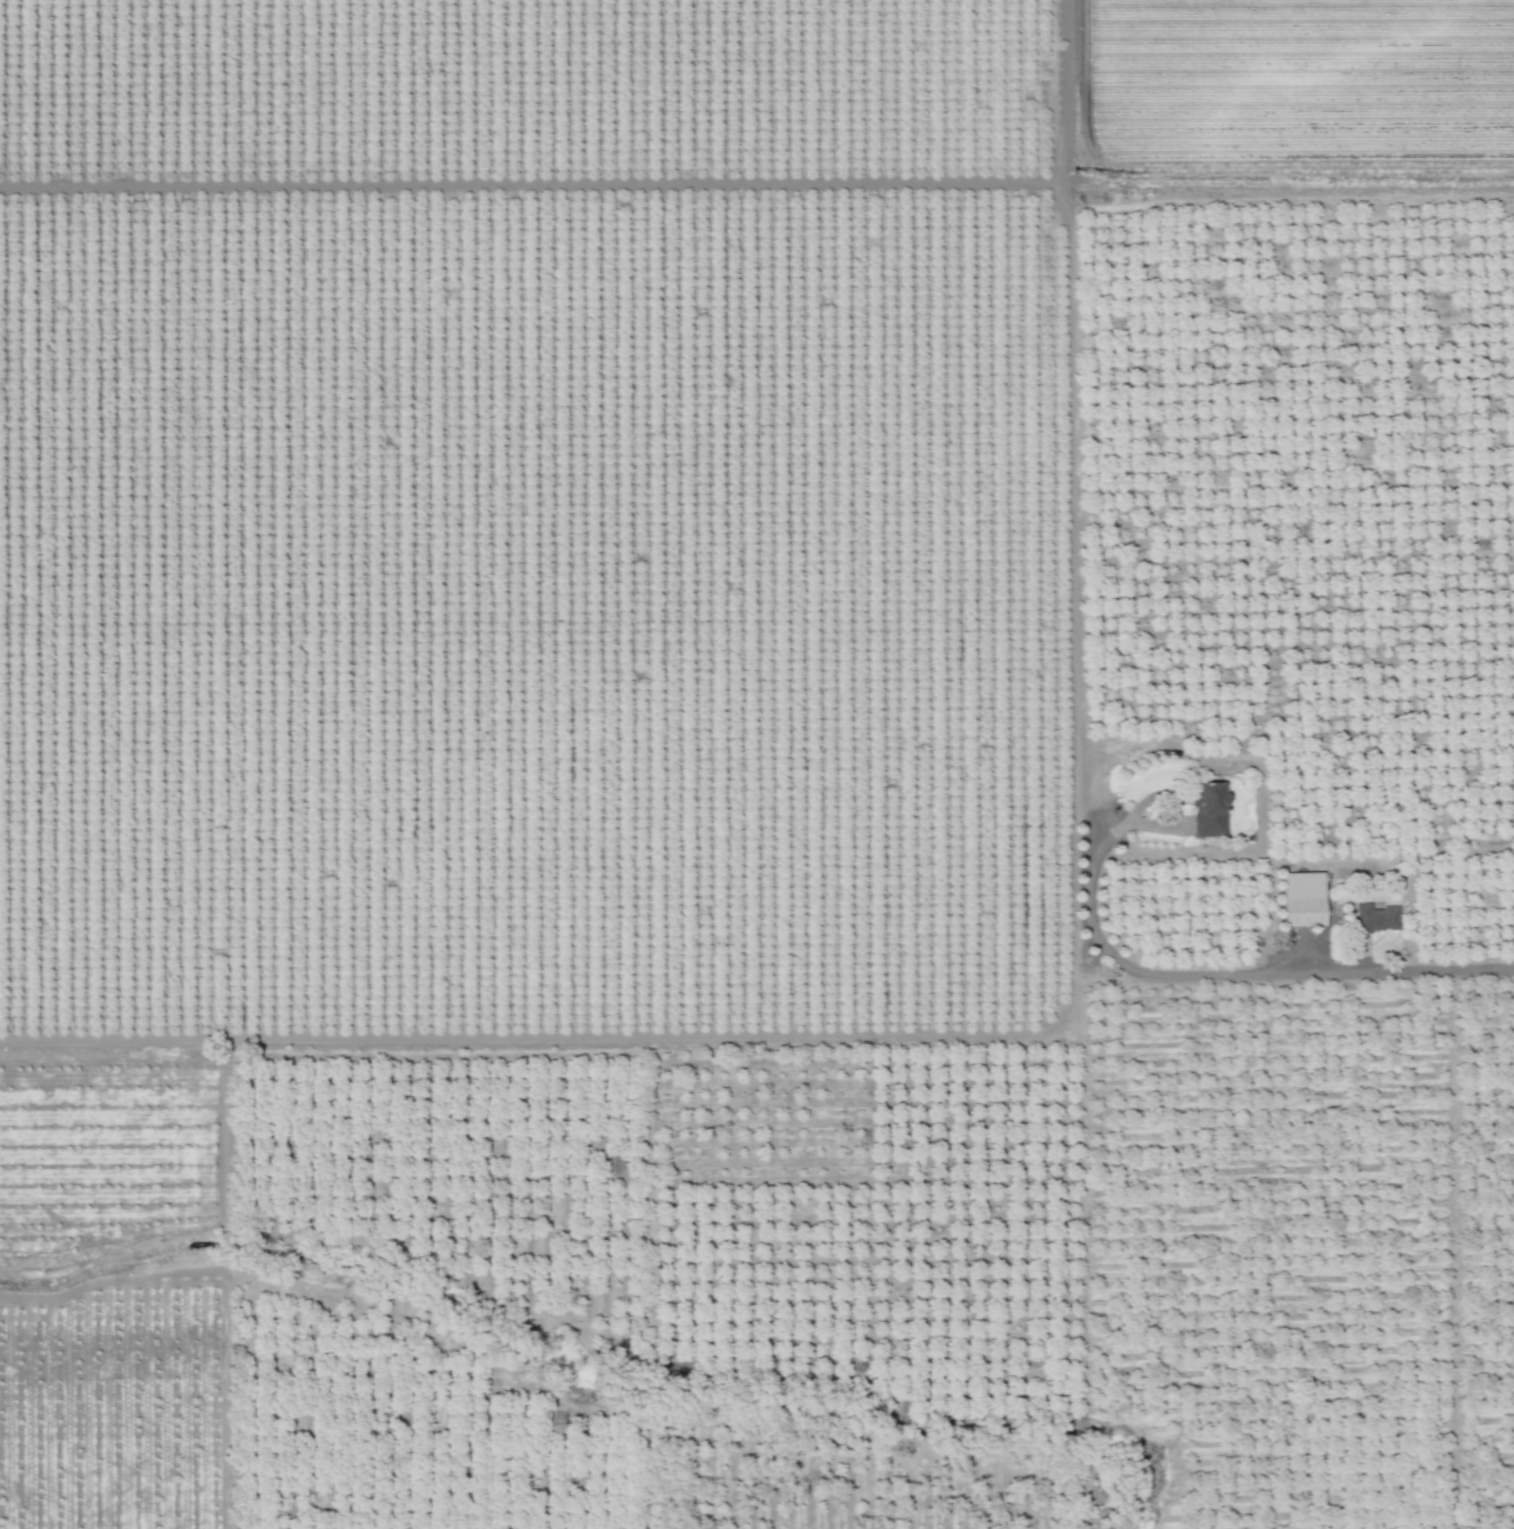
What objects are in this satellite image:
road: (1071, 432)
road: (1261, 781)
road: (1173, 805)
building: (1209, 811)
building: (1304, 900)
building: (1378, 918)
road: (1231, 975)

